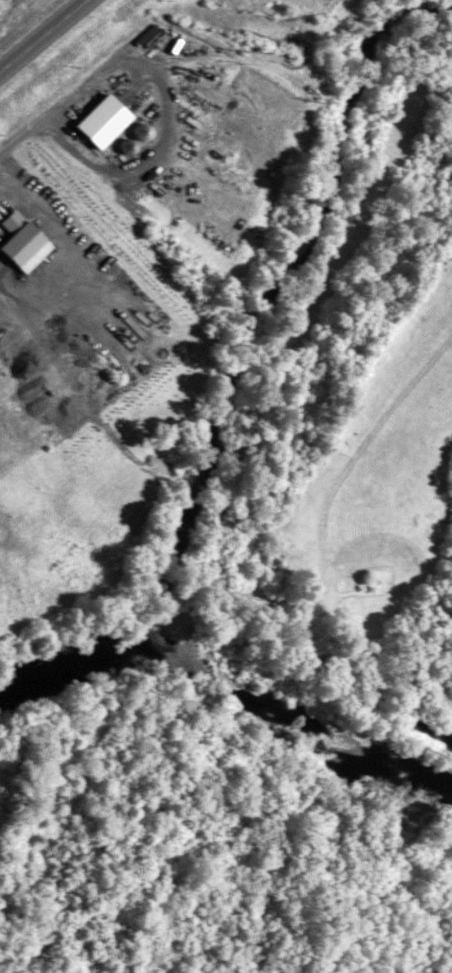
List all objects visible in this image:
road: (39, 32)

